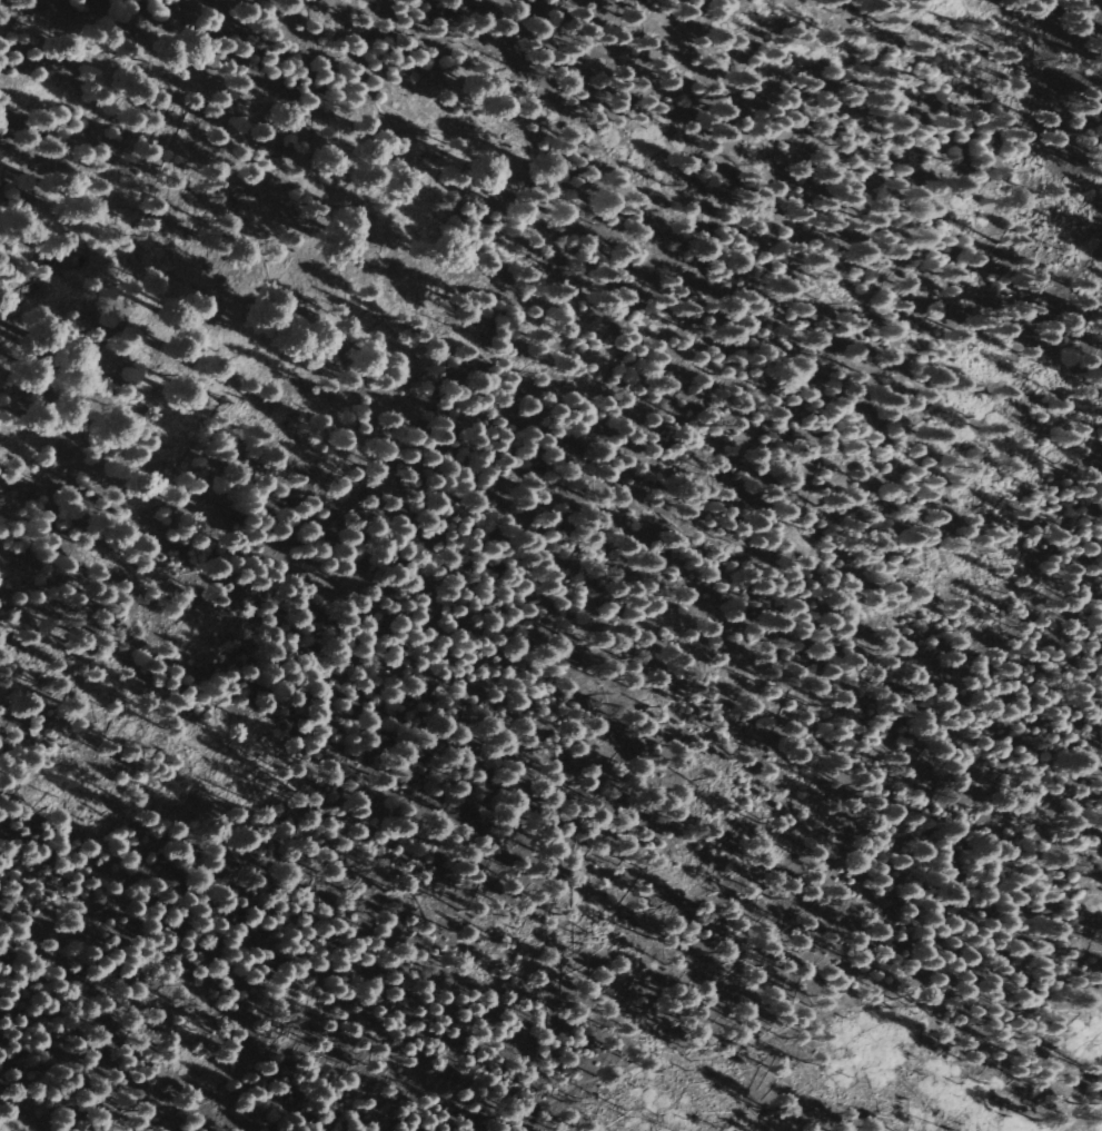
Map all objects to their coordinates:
road: (781, 1012)

